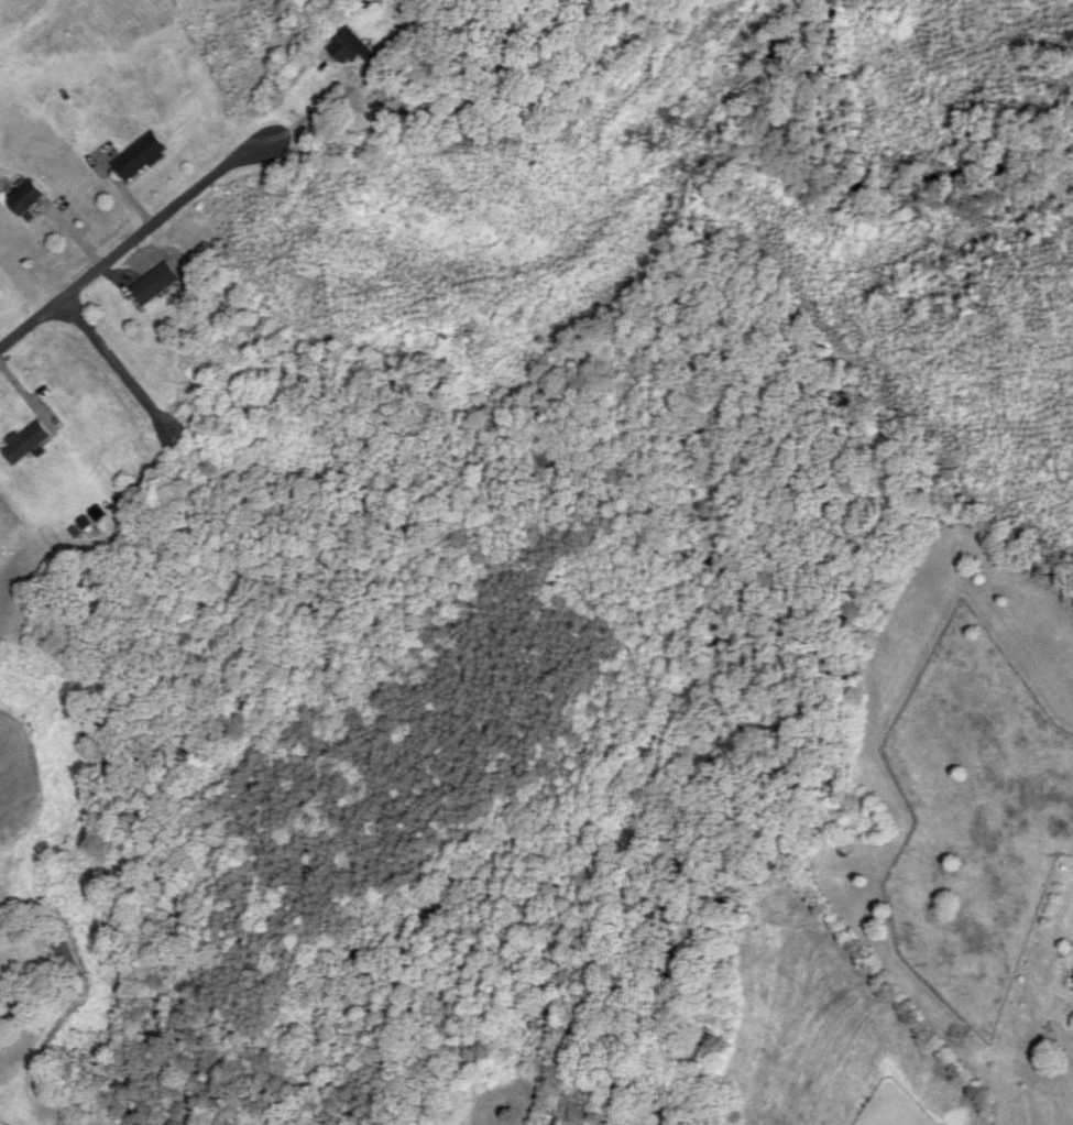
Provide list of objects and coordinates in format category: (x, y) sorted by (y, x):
building: (354, 51)
building: (142, 157)
building: (30, 199)
road: (144, 233)
road: (140, 390)
building: (28, 443)

